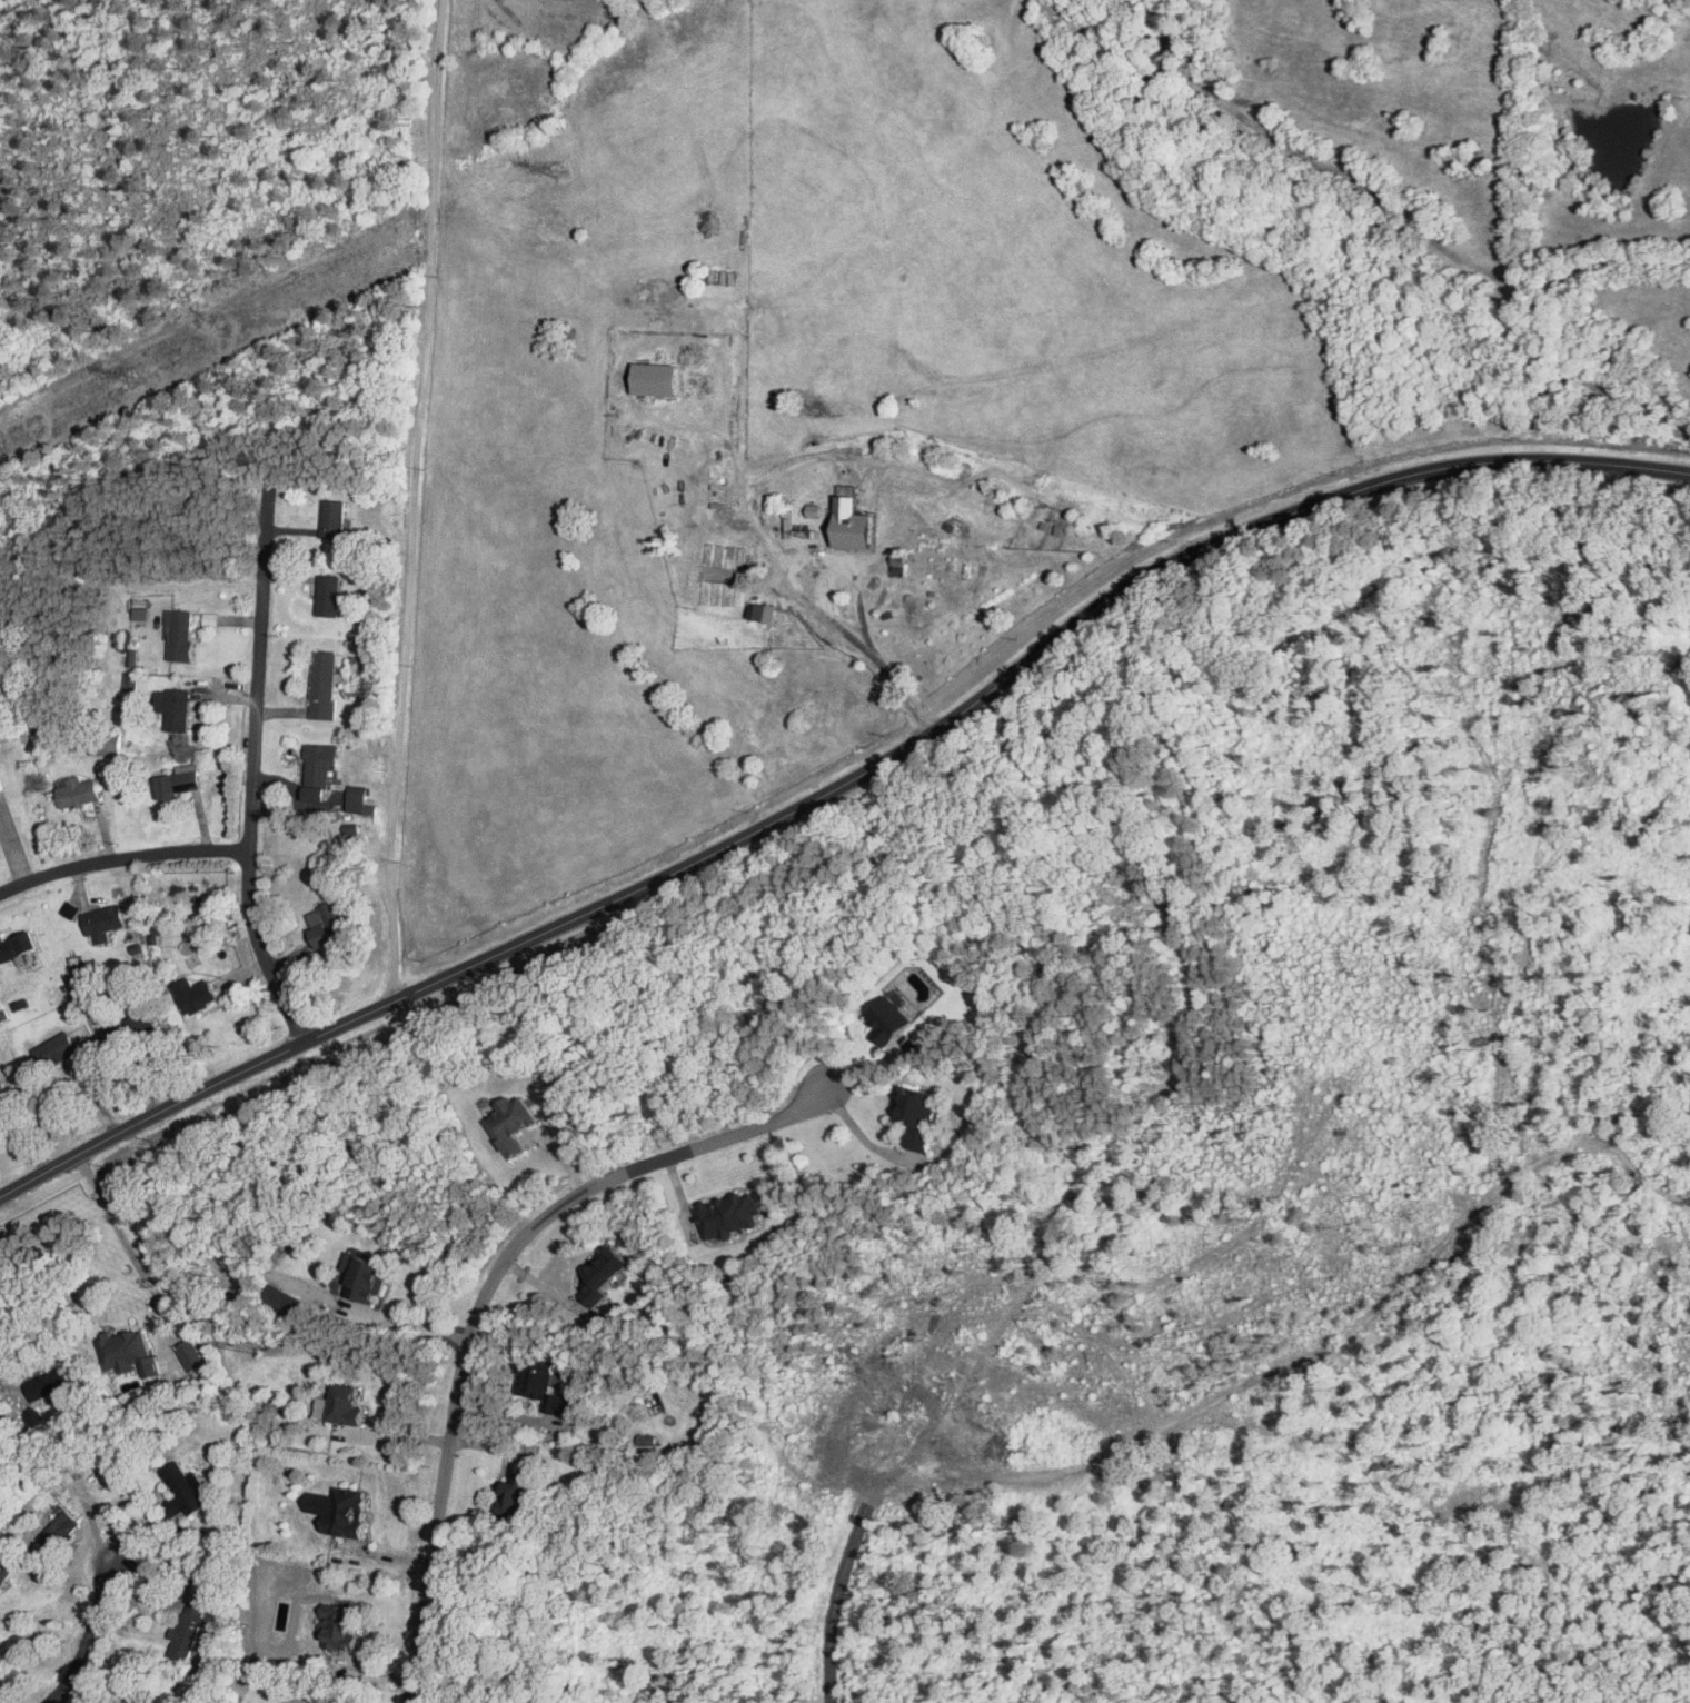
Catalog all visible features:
power tower: (555, 169)
power tower: (140, 375)
building: (659, 377)
road: (411, 501)
building: (815, 509)
building: (334, 517)
building: (856, 522)
building: (329, 594)
building: (140, 608)
building: (764, 610)
road: (1093, 610)
road: (829, 615)
building: (210, 617)
building: (180, 633)
building: (132, 656)
building: (131, 680)
building: (325, 684)
building: (179, 708)
building: (321, 763)
road: (251, 773)
building: (180, 780)
building: (1, 783)
building: (79, 790)
building: (358, 797)
road: (121, 857)
building: (103, 922)
building: (328, 924)
building: (18, 945)
building: (198, 994)
road: (388, 1003)
building: (893, 1019)
building: (56, 1048)
building: (3, 1090)
building: (921, 1115)
building: (513, 1124)
road: (111, 1138)
building: (730, 1214)
road: (129, 1248)
road: (262, 1274)
building: (606, 1274)
building: (366, 1276)
road: (485, 1296)
building: (281, 1299)
building: (130, 1353)
building: (191, 1354)
building: (48, 1383)
road: (9, 1385)
building: (547, 1388)
building: (349, 1404)
building: (187, 1488)
building: (517, 1488)
building: (342, 1510)
building: (62, 1528)
building: (4, 1573)
road: (839, 1593)
building: (340, 1626)
road: (90, 1630)
building: (187, 1632)
road: (301, 1702)

